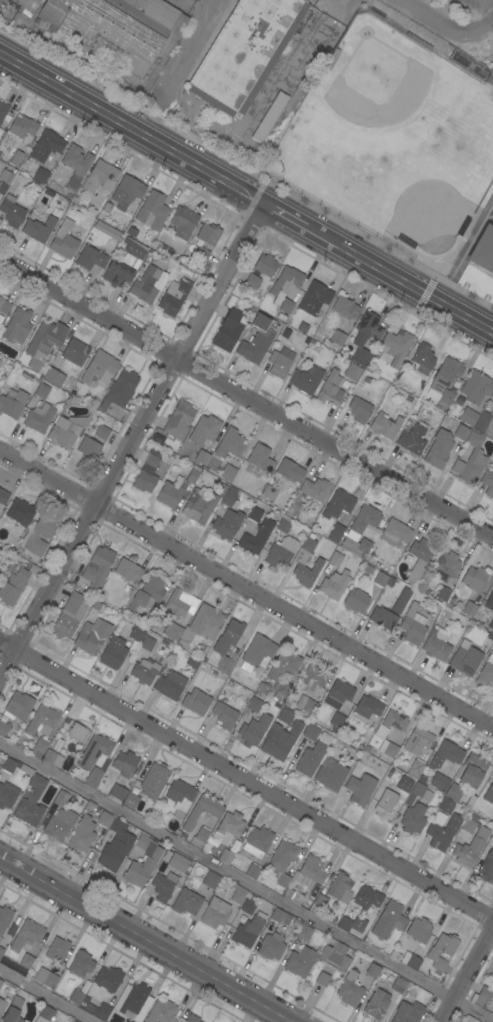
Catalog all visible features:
road: (328, 23)
road: (448, 26)
building: (119, 28)
building: (245, 52)
park: (376, 96)
building: (3, 110)
building: (269, 117)
building: (23, 126)
building: (46, 145)
building: (15, 158)
building: (75, 165)
building: (41, 175)
building: (6, 176)
building: (100, 177)
park: (402, 183)
building: (127, 192)
road: (246, 197)
building: (74, 199)
parking lot: (487, 209)
building: (12, 211)
building: (153, 211)
building: (183, 222)
building: (39, 229)
building: (132, 232)
building: (208, 234)
building: (64, 239)
building: (135, 249)
building: (483, 249)
building: (201, 254)
road: (462, 256)
building: (90, 258)
building: (265, 265)
building: (117, 271)
building: (252, 281)
building: (285, 283)
building: (145, 285)
building: (173, 297)
building: (314, 298)
building: (4, 306)
building: (286, 306)
building: (345, 308)
building: (281, 316)
building: (17, 325)
building: (228, 330)
building: (365, 336)
building: (258, 338)
building: (338, 338)
building: (44, 342)
building: (396, 346)
building: (75, 352)
building: (422, 358)
building: (0, 362)
building: (278, 364)
building: (99, 368)
building: (352, 372)
building: (444, 376)
building: (54, 377)
building: (307, 379)
building: (476, 387)
building: (121, 388)
building: (330, 388)
building: (41, 390)
building: (447, 397)
road: (246, 398)
building: (492, 401)
building: (12, 402)
building: (359, 409)
building: (468, 417)
building: (39, 418)
building: (179, 420)
building: (485, 423)
building: (385, 426)
building: (207, 427)
building: (102, 432)
building: (462, 432)
building: (62, 435)
building: (413, 438)
road: (132, 443)
building: (230, 444)
building: (89, 448)
building: (439, 449)
building: (204, 452)
building: (260, 458)
building: (471, 460)
building: (289, 470)
building: (228, 472)
building: (146, 474)
building: (488, 482)
building: (176, 489)
building: (315, 489)
building: (269, 492)
building: (3, 496)
building: (229, 496)
building: (338, 504)
building: (199, 506)
building: (256, 511)
building: (20, 512)
building: (365, 519)
building: (227, 524)
building: (284, 525)
building: (339, 527)
building: (395, 533)
building: (39, 534)
building: (256, 537)
building: (356, 546)
building: (281, 552)
building: (335, 558)
building: (420, 558)
building: (300, 561)
building: (447, 563)
building: (98, 567)
building: (128, 570)
building: (0, 573)
building: (379, 578)
building: (475, 579)
building: (12, 584)
building: (334, 584)
road: (246, 590)
building: (147, 593)
building: (443, 594)
building: (356, 600)
building: (401, 600)
building: (489, 601)
building: (181, 603)
building: (470, 608)
building: (70, 615)
building: (383, 618)
building: (203, 623)
building: (413, 625)
building: (491, 625)
building: (172, 630)
building: (136, 633)
building: (92, 636)
building: (148, 642)
building: (227, 643)
building: (437, 644)
building: (113, 653)
building: (257, 653)
building: (465, 658)
building: (192, 662)
building: (144, 671)
building: (486, 671)
building: (312, 677)
building: (272, 678)
building: (170, 685)
building: (338, 694)
building: (196, 702)
building: (254, 704)
building: (306, 704)
building: (20, 705)
building: (368, 706)
building: (224, 715)
building: (285, 716)
building: (41, 719)
building: (336, 721)
building: (4, 728)
building: (253, 730)
building: (77, 732)
building: (311, 732)
building: (380, 733)
building: (280, 740)
building: (417, 741)
building: (40, 746)
building: (95, 752)
building: (446, 754)
building: (312, 755)
building: (49, 756)
building: (125, 764)
building: (416, 766)
building: (471, 771)
building: (330, 774)
building: (94, 778)
building: (154, 780)
road: (246, 780)
building: (440, 782)
building: (404, 784)
building: (360, 789)
building: (35, 791)
building: (117, 792)
building: (454, 792)
building: (418, 793)
building: (489, 794)
building: (7, 795)
building: (180, 797)
building: (61, 798)
building: (131, 801)
building: (385, 803)
building: (446, 805)
building: (214, 813)
building: (413, 818)
building: (104, 819)
building: (59, 824)
building: (469, 824)
building: (228, 828)
building: (443, 832)
building: (82, 834)
building: (202, 836)
building: (257, 841)
building: (116, 846)
building: (471, 847)
building: (226, 856)
building: (283, 861)
building: (142, 862)
building: (179, 862)
building: (487, 867)
building: (248, 868)
building: (313, 869)
building: (210, 880)
road: (245, 880)
building: (162, 888)
building: (340, 890)
building: (239, 894)
building: (320, 900)
building: (366, 900)
building: (186, 902)
building: (248, 904)
building: (215, 913)
building: (278, 915)
building: (4, 918)
building: (388, 920)
building: (350, 923)
building: (248, 930)
building: (419, 930)
building: (304, 932)
building: (27, 934)
building: (0, 939)
road: (146, 939)
building: (271, 946)
building: (57, 950)
building: (442, 950)
building: (1, 951)
building: (335, 956)
building: (26, 961)
building: (411, 961)
building: (300, 962)
building: (81, 964)
building: (373, 971)
building: (491, 973)
building: (46, 977)
road: (468, 977)
building: (108, 979)
building: (322, 979)
building: (492, 980)
building: (1, 982)
building: (399, 985)
building: (492, 986)
building: (350, 989)
road: (46, 996)
building: (481, 997)
building: (134, 998)
building: (376, 1004)
building: (2, 1005)
building: (90, 1006)
building: (13, 1011)
building: (161, 1012)
building: (407, 1012)
building: (47, 1013)
building: (192, 1018)
building: (468, 1019)
building: (74, 1020)
building: (128, 1020)

